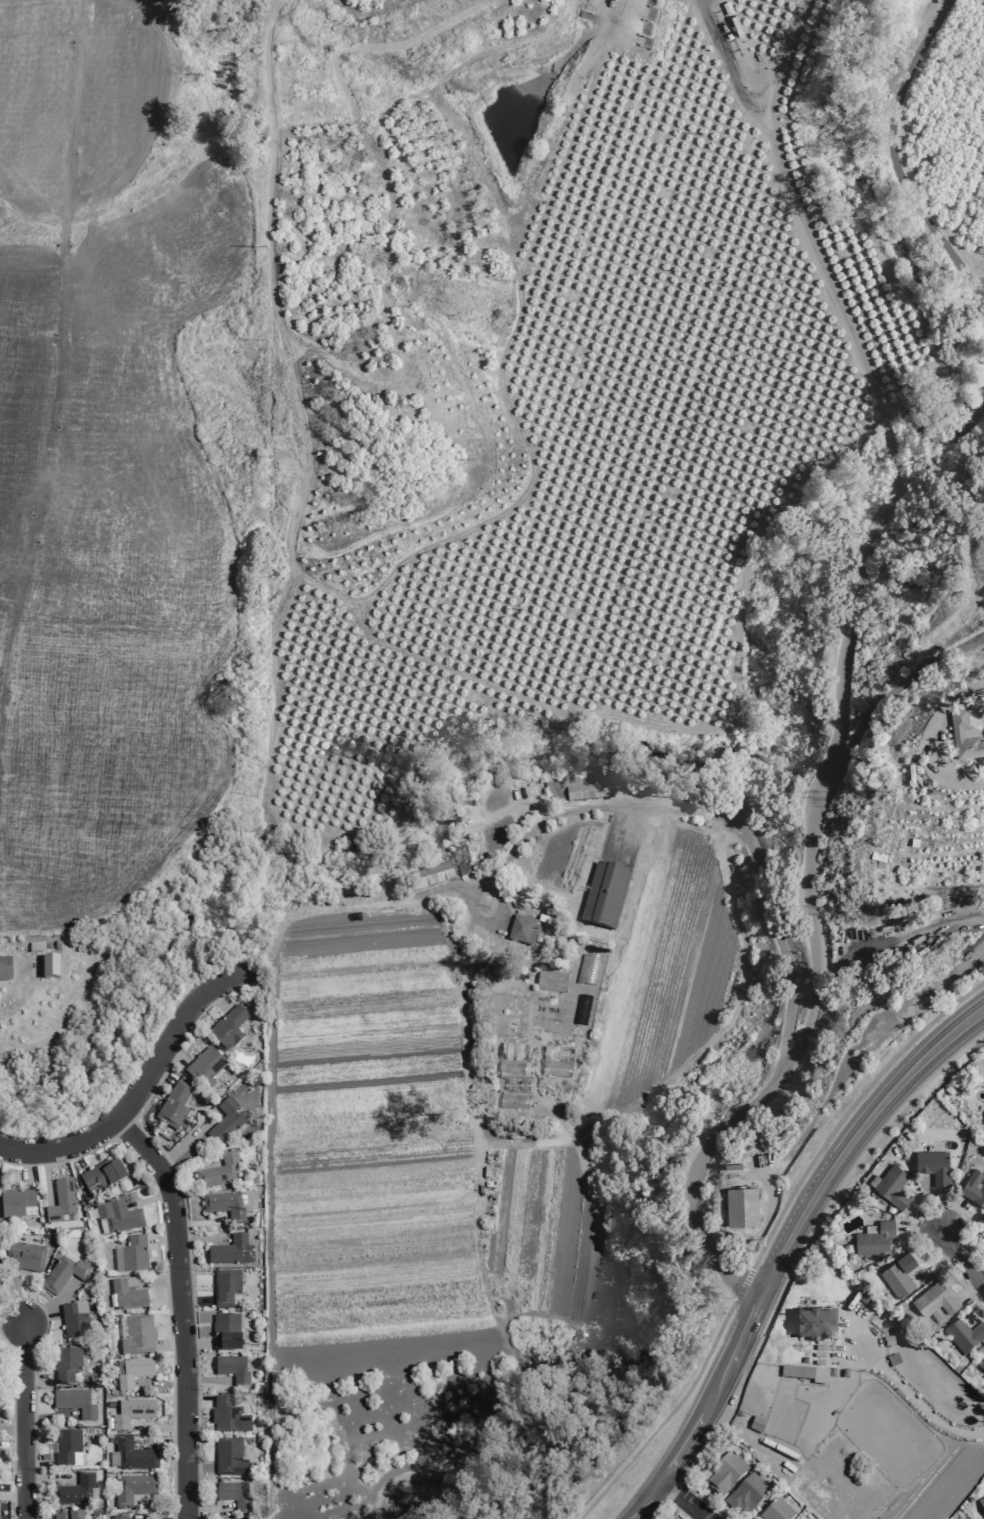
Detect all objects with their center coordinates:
power tower: (263, 132)
road: (893, 156)
road: (801, 214)
power tower: (266, 246)
power tower: (266, 340)
road: (56, 386)
road: (888, 426)
road: (944, 448)
road: (893, 449)
crop: (107, 457)
power tower: (268, 475)
road: (898, 476)
power tower: (268, 576)
road: (843, 648)
power tower: (267, 698)
road: (878, 707)
building: (958, 732)
road: (936, 735)
building: (577, 789)
power tower: (258, 796)
building: (463, 860)
building: (428, 877)
building: (605, 896)
power tower: (254, 928)
building: (521, 928)
road: (897, 943)
building: (50, 967)
building: (5, 969)
building: (588, 969)
road: (245, 980)
building: (551, 980)
road: (218, 996)
power tower: (256, 996)
building: (581, 1010)
building: (229, 1027)
road: (175, 1053)
building: (556, 1063)
building: (205, 1067)
road: (843, 1070)
road: (161, 1074)
building: (511, 1077)
power tower: (257, 1079)
road: (776, 1084)
road: (138, 1089)
park: (76, 1099)
building: (174, 1106)
road: (849, 1108)
building: (225, 1122)
road: (124, 1129)
road: (851, 1132)
road: (186, 1139)
road: (860, 1149)
road: (74, 1158)
building: (934, 1167)
road: (28, 1169)
building: (219, 1172)
road: (46, 1176)
building: (102, 1178)
building: (893, 1186)
building: (974, 1188)
road: (149, 1199)
building: (60, 1201)
building: (17, 1203)
building: (224, 1206)
building: (742, 1207)
road: (941, 1211)
power tower: (257, 1214)
road: (952, 1215)
building: (116, 1216)
road: (924, 1218)
crop: (401, 1220)
road: (185, 1222)
road: (200, 1222)
road: (912, 1222)
road: (919, 1227)
road: (199, 1238)
building: (875, 1239)
road: (162, 1240)
road: (971, 1246)
building: (231, 1251)
building: (132, 1255)
building: (25, 1256)
road: (961, 1259)
road: (796, 1261)
road: (164, 1262)
road: (938, 1265)
building: (63, 1272)
building: (899, 1275)
road: (9, 1278)
road: (161, 1281)
building: (131, 1282)
road: (9, 1285)
road: (744, 1285)
building: (227, 1289)
road: (969, 1291)
building: (127, 1296)
road: (61, 1299)
building: (935, 1300)
road: (181, 1309)
road: (974, 1310)
road: (18, 1313)
road: (50, 1313)
road: (34, 1320)
building: (75, 1320)
road: (12, 1323)
building: (815, 1323)
building: (226, 1331)
building: (964, 1335)
building: (138, 1336)
road: (13, 1338)
building: (889, 1341)
road: (196, 1343)
road: (170, 1344)
power tower: (259, 1344)
building: (893, 1359)
building: (66, 1364)
building: (981, 1366)
building: (233, 1369)
building: (132, 1372)
building: (831, 1372)
building: (844, 1373)
building: (806, 1374)
road: (206, 1379)
road: (36, 1380)
road: (164, 1383)
road: (11, 1387)
road: (33, 1387)
road: (915, 1401)
building: (75, 1403)
road: (198, 1403)
road: (707, 1412)
building: (132, 1413)
building: (228, 1416)
road: (46, 1418)
road: (666, 1418)
road: (12, 1423)
road: (23, 1423)
building: (757, 1424)
road: (159, 1426)
road: (161, 1444)
road: (11, 1447)
building: (68, 1447)
building: (133, 1455)
building: (230, 1457)
road: (37, 1459)
power tower: (258, 1464)
road: (198, 1468)
building: (726, 1473)
road: (48, 1480)
building: (133, 1488)
building: (74, 1491)
road: (677, 1492)
building: (748, 1494)
building: (234, 1495)
road: (12, 1496)
road: (684, 1499)
road: (160, 1501)
road: (703, 1502)
building: (981, 1502)
road: (668, 1506)
road: (206, 1509)
building: (777, 1511)
road: (722, 1514)
building: (75, 1515)
building: (59, 1516)
building: (118, 1517)
road: (140, 1518)
building: (796, 1518)
building: (798, 1518)

